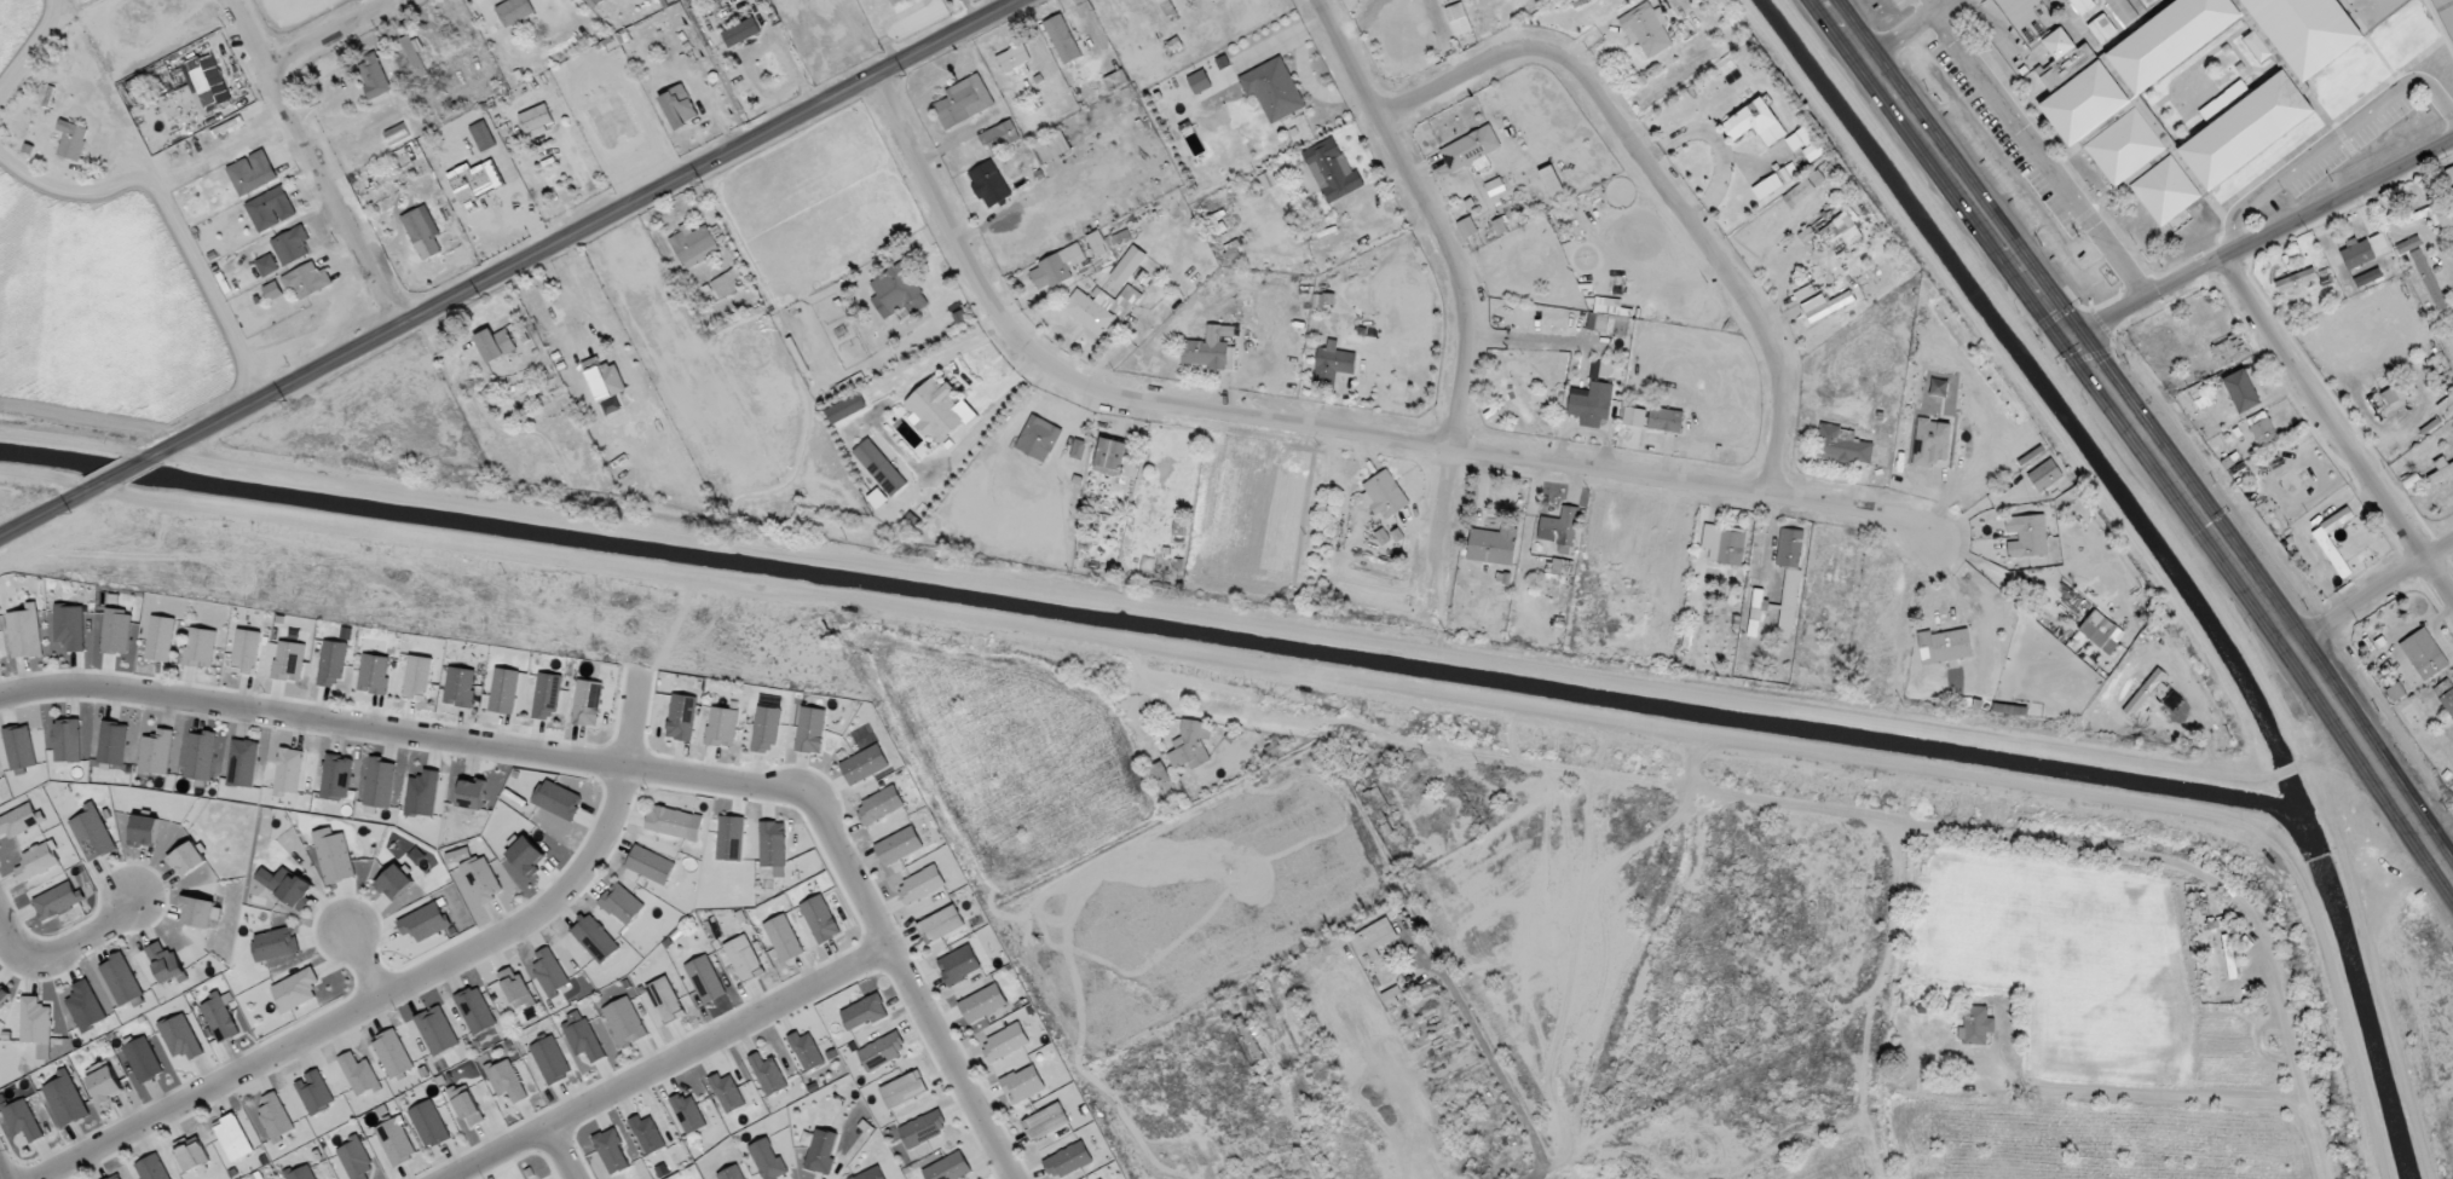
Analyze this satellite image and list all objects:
building: (896, 1)
building: (1485, 1)
building: (1162, 2)
road: (1941, 2)
park: (2148, 4)
road: (1926, 6)
building: (2083, 6)
building: (2123, 10)
building: (514, 11)
park: (2446, 15)
building: (1459, 19)
building: (723, 24)
building: (2101, 28)
building: (1646, 29)
building: (2308, 31)
building: (740, 33)
road: (1903, 33)
road: (331, 34)
building: (1062, 39)
building: (2170, 39)
building: (414, 57)
building: (1014, 60)
building: (373, 75)
building: (1115, 80)
building: (1199, 82)
building: (200, 86)
building: (1274, 89)
building: (2079, 93)
building: (964, 102)
building: (679, 106)
building: (536, 120)
building: (1755, 122)
building: (2244, 126)
building: (397, 134)
building: (483, 135)
building: (1000, 137)
building: (1799, 138)
road: (2332, 139)
building: (71, 140)
building: (1050, 148)
building: (1470, 148)
building: (1812, 151)
road: (2042, 152)
road: (317, 162)
building: (1332, 171)
building: (252, 173)
road: (1658, 175)
building: (475, 180)
building: (1268, 180)
building: (1552, 181)
building: (988, 184)
building: (1803, 189)
building: (271, 209)
road: (167, 220)
building: (2446, 220)
road: (585, 229)
building: (1841, 229)
building: (422, 231)
road: (2262, 238)
building: (1098, 242)
building: (2378, 242)
building: (2408, 244)
building: (292, 245)
building: (693, 245)
building: (2356, 254)
building: (266, 265)
building: (1129, 265)
building: (1056, 267)
building: (2425, 274)
building: (2368, 277)
building: (2296, 279)
building: (306, 281)
building: (726, 283)
building: (272, 290)
building: (896, 291)
road: (1461, 294)
building: (1323, 299)
building: (1825, 306)
building: (1099, 307)
building: (1609, 318)
traffic signals: (2071, 335)
building: (495, 345)
building: (1210, 349)
building: (1333, 363)
building: (1938, 387)
building: (2241, 391)
building: (2395, 397)
building: (1516, 403)
building: (2447, 406)
building: (1588, 408)
building: (847, 409)
building: (937, 411)
building: (1634, 417)
building: (1666, 420)
road: (1322, 428)
road: (2337, 428)
building: (2262, 429)
road: (2143, 434)
building: (1038, 438)
building: (1933, 444)
building: (1841, 445)
building: (1078, 450)
building: (1110, 457)
building: (879, 468)
building: (2441, 470)
road: (127, 473)
building: (2044, 474)
building: (1385, 495)
road: (51, 512)
building: (2027, 536)
building: (1724, 544)
building: (1493, 545)
building: (1789, 548)
road: (2373, 591)
building: (1789, 600)
building: (1755, 612)
building: (70, 626)
building: (116, 631)
building: (2101, 631)
building: (24, 632)
building: (160, 638)
building: (1944, 646)
building: (200, 647)
building: (246, 651)
building: (289, 660)
building: (2429, 661)
building: (330, 664)
building: (374, 674)
building: (417, 677)
building: (460, 687)
building: (503, 690)
building: (2148, 690)
building: (2446, 695)
building: (546, 697)
building: (587, 703)
building: (681, 717)
building: (722, 727)
building: (766, 728)
building: (810, 730)
building: (67, 740)
building: (112, 742)
building: (1190, 745)
building: (19, 747)
building: (156, 752)
building: (200, 756)
building: (242, 763)
building: (864, 764)
road: (616, 767)
building: (288, 771)
building: (336, 778)
building: (379, 782)
building: (422, 793)
building: (472, 793)
building: (556, 799)
building: (879, 805)
building: (18, 821)
building: (669, 821)
building: (144, 831)
building: (92, 833)
building: (729, 838)
building: (899, 845)
building: (773, 846)
building: (334, 856)
building: (526, 856)
building: (187, 860)
building: (37, 861)
building: (650, 865)
building: (481, 879)
building: (394, 883)
building: (287, 885)
building: (920, 885)
building: (57, 900)
building: (622, 905)
building: (198, 912)
building: (820, 919)
building: (423, 921)
building: (940, 924)
building: (594, 938)
building: (783, 938)
building: (1373, 940)
road: (67, 944)
building: (275, 944)
building: (743, 958)
building: (2229, 960)
road: (358, 961)
building: (166, 964)
building: (959, 965)
building: (550, 973)
building: (121, 979)
building: (704, 979)
road: (408, 983)
building: (515, 988)
building: (296, 989)
building: (2, 996)
building: (1392, 996)
building: (665, 999)
building: (982, 1004)
building: (85, 1006)
building: (475, 1010)
building: (864, 1012)
building: (219, 1017)
building: (35, 1021)
building: (624, 1022)
building: (1975, 1025)
building: (437, 1030)
building: (180, 1036)
building: (583, 1039)
building: (1004, 1042)
building: (806, 1051)
building: (882, 1051)
building: (392, 1053)
building: (143, 1059)
building: (550, 1059)
road: (2293, 1059)
road: (664, 1062)
building: (358, 1074)
building: (768, 1074)
building: (506, 1080)
building: (1022, 1085)
building: (904, 1090)
building: (314, 1092)
building: (733, 1093)
building: (65, 1099)
building: (467, 1105)
building: (688, 1112)
building: (275, 1116)
building: (22, 1120)
building: (1046, 1121)
building: (429, 1123)
building: (922, 1129)
building: (647, 1134)
building: (232, 1140)
building: (394, 1142)
building: (819, 1150)
road: (560, 1151)
building: (611, 1151)
building: (194, 1156)
building: (354, 1158)
building: (767, 1160)
building: (1067, 1160)
building: (152, 1168)
building: (948, 1168)
building: (300, 1173)
building: (732, 1173)
building: (871, 1174)
road: (0, 1177)
building: (117, 1178)

